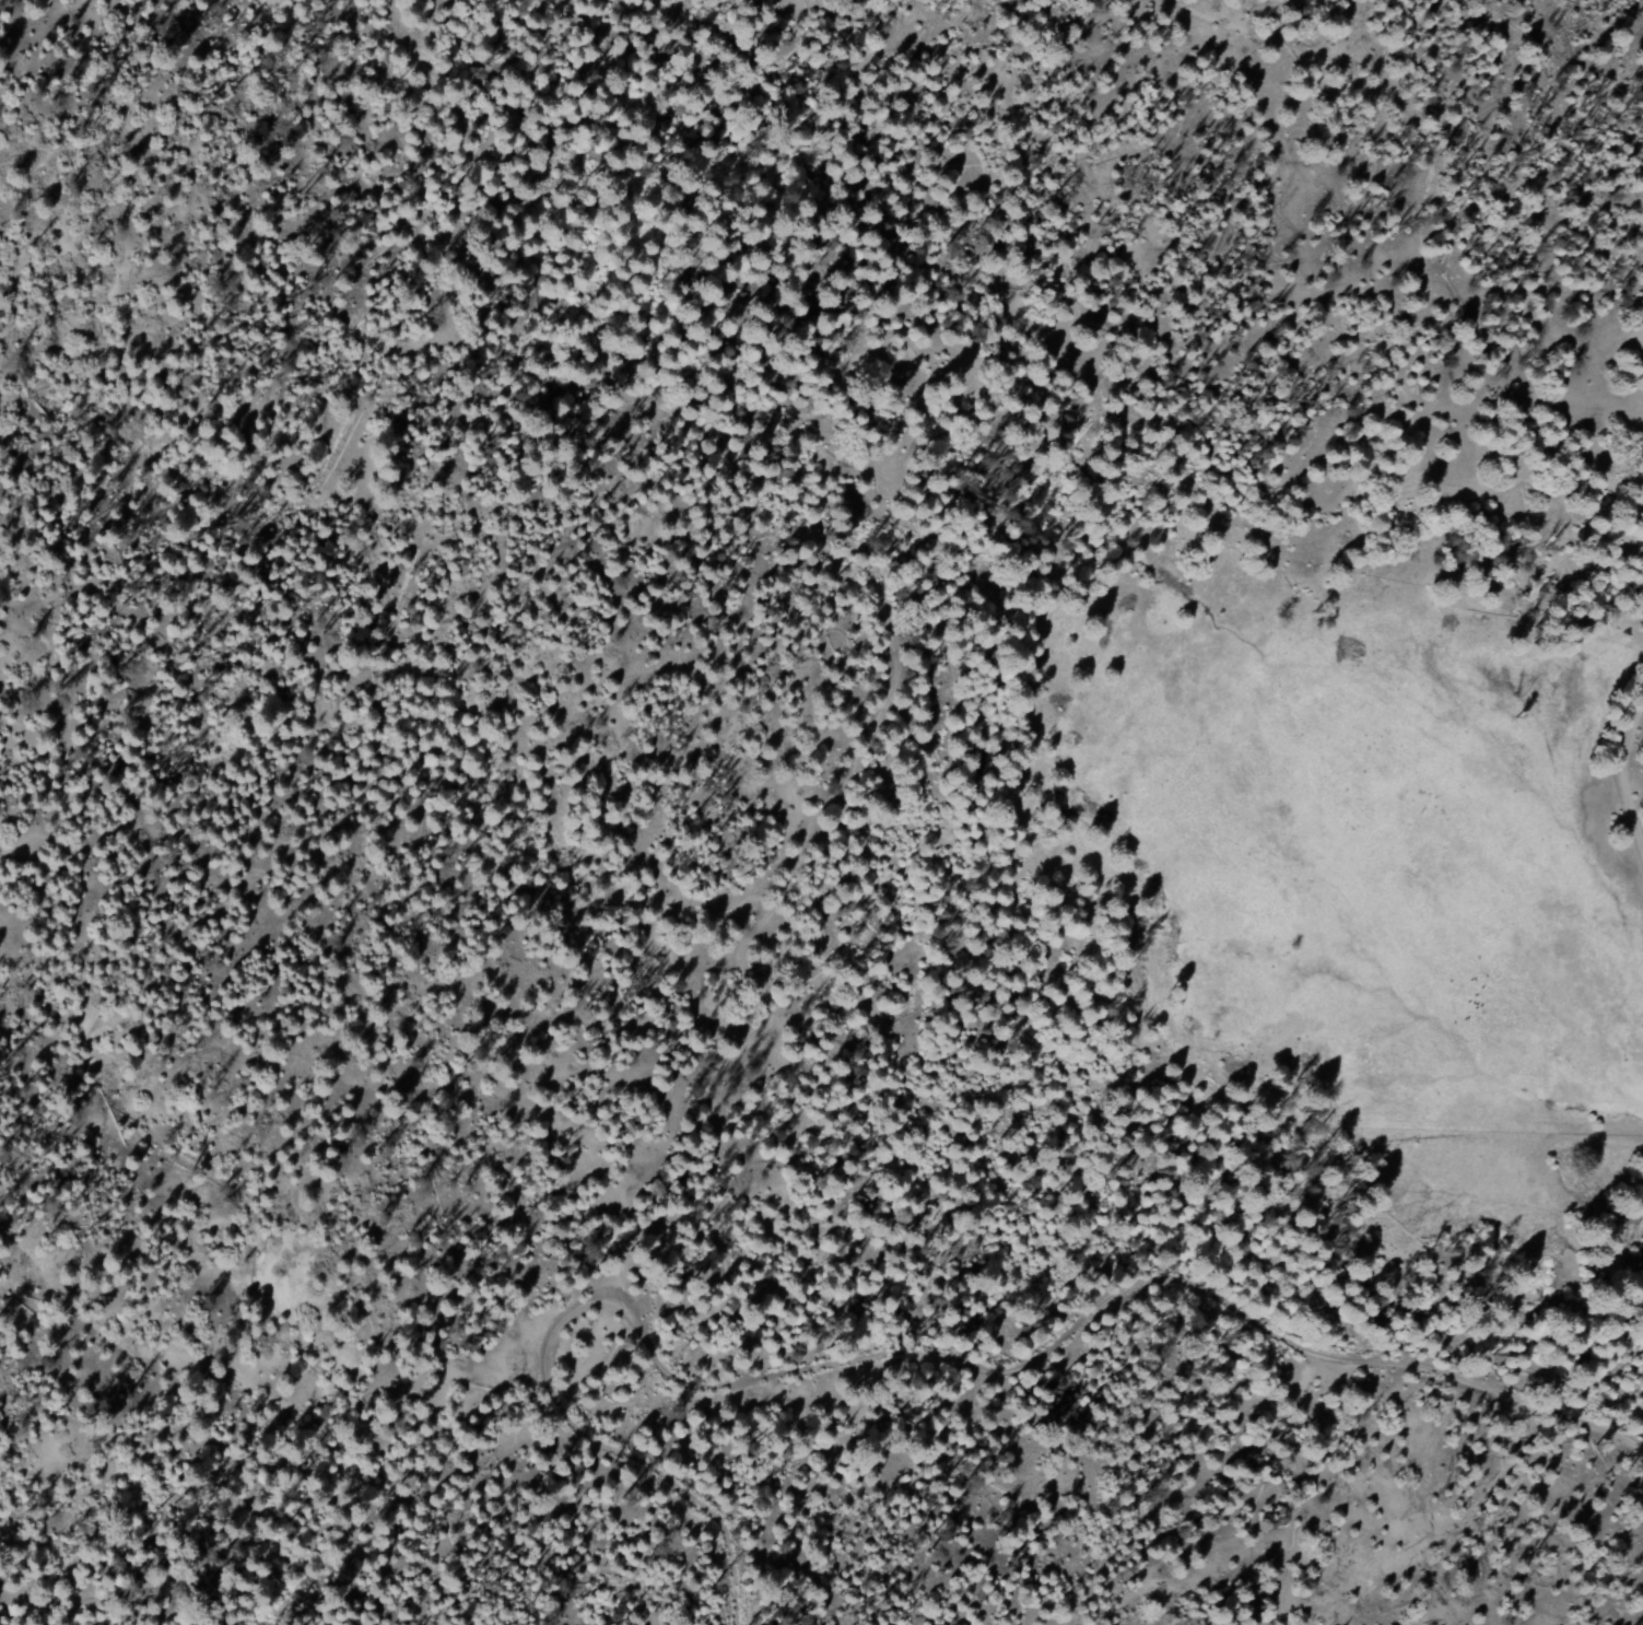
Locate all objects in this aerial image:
road: (802, 620)
road: (1624, 788)
road: (1126, 1297)
road: (609, 1450)

